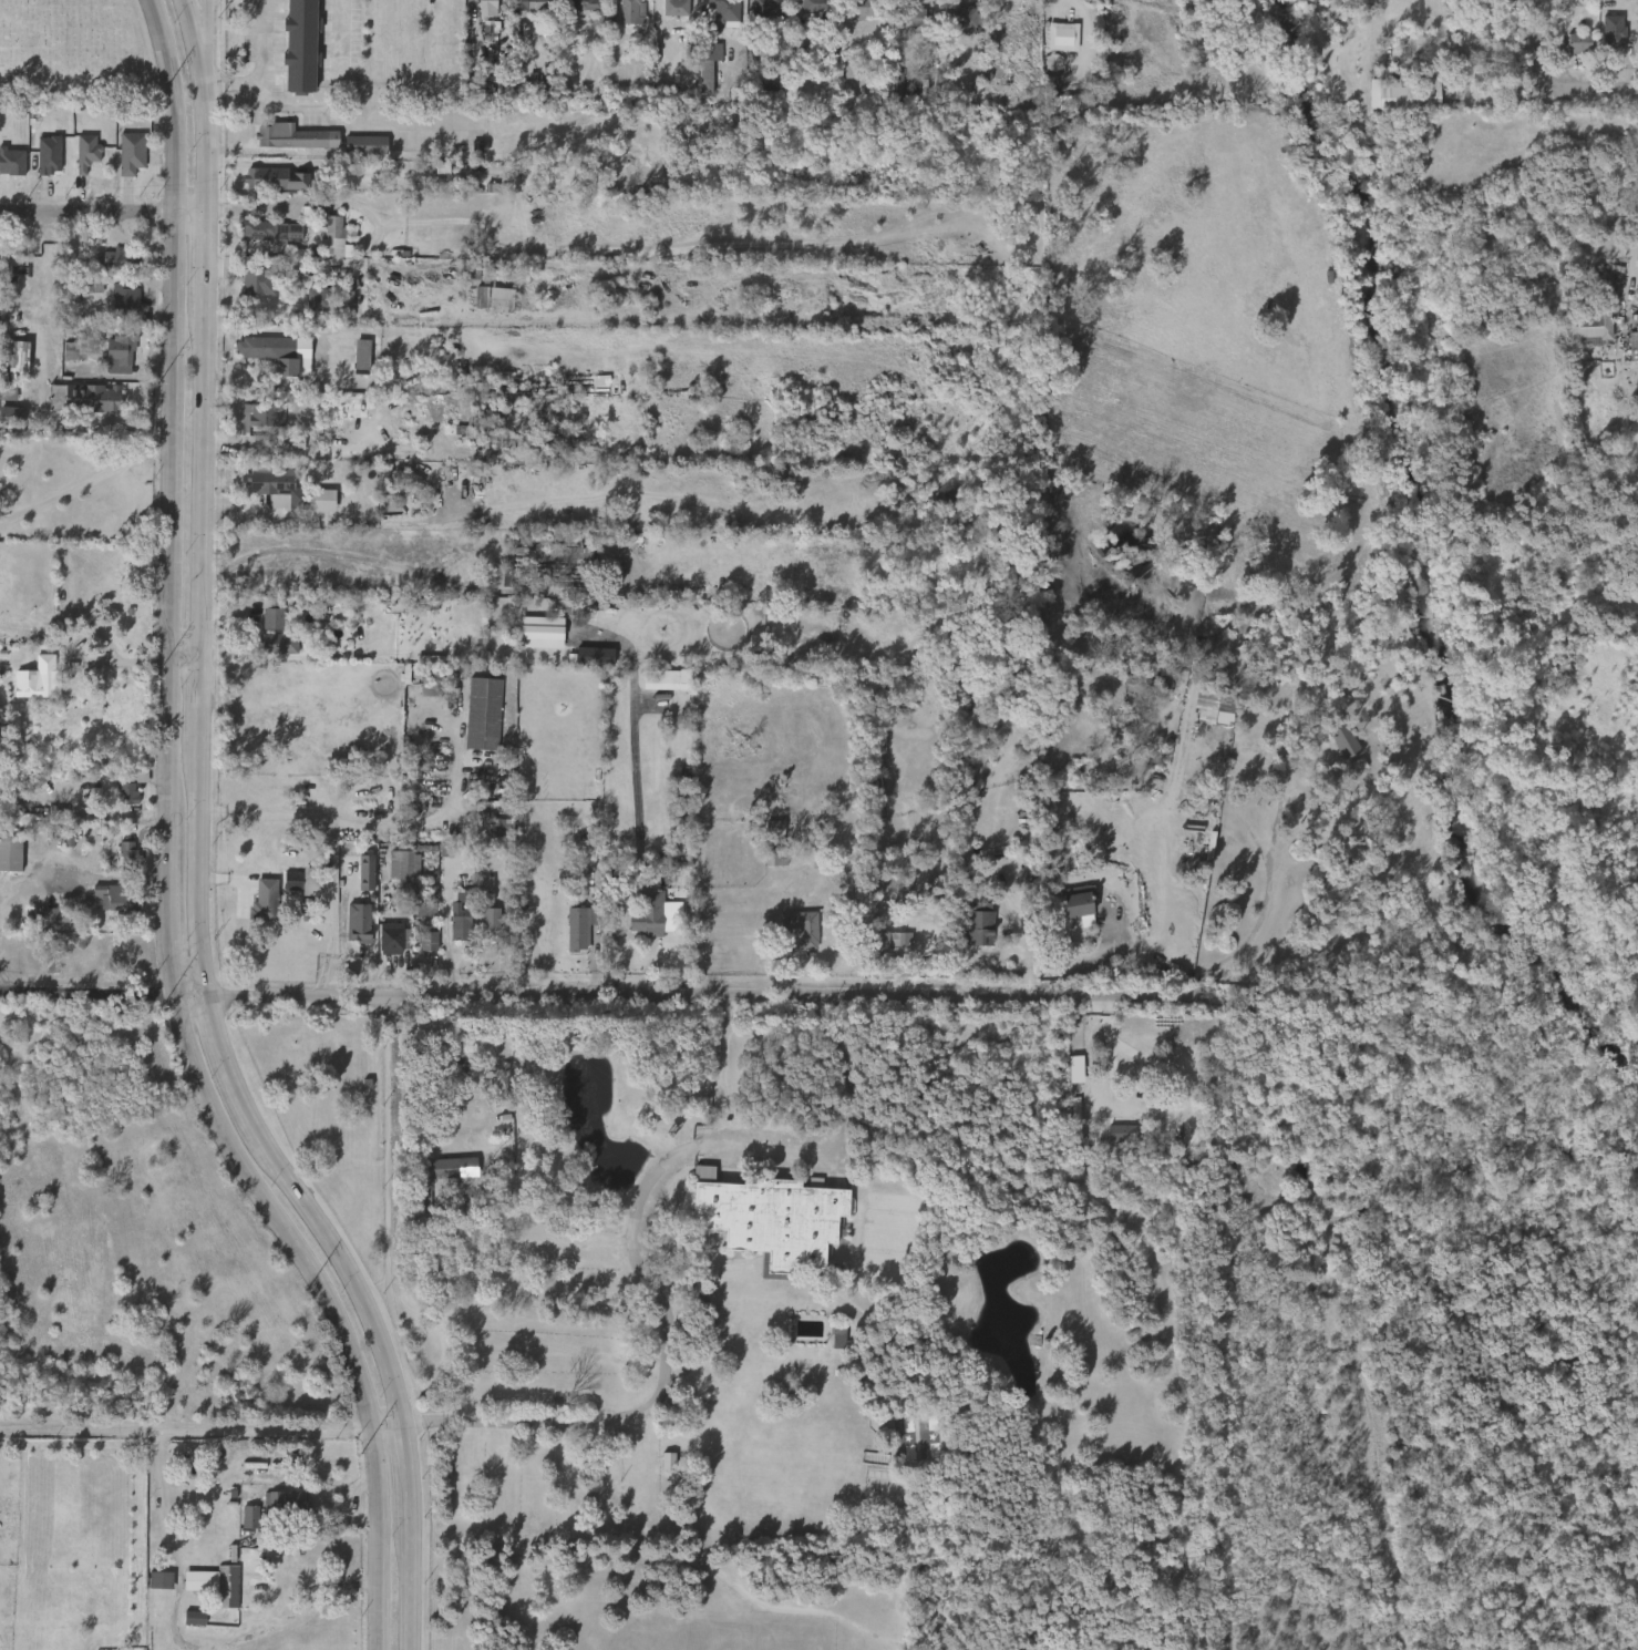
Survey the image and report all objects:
building: (530, 4)
building: (586, 4)
building: (676, 7)
building: (766, 7)
building: (487, 8)
building: (814, 9)
building: (864, 9)
building: (576, 10)
building: (724, 10)
building: (633, 11)
building: (667, 14)
building: (758, 14)
building: (624, 18)
building: (852, 18)
building: (906, 18)
building: (960, 18)
building: (897, 27)
building: (951, 28)
road: (193, 33)
road: (207, 34)
road: (1542, 40)
building: (1604, 40)
building: (1577, 42)
building: (303, 45)
building: (1054, 45)
park: (54, 49)
building: (1570, 52)
building: (708, 65)
road: (260, 66)
building: (1453, 71)
building: (700, 75)
building: (893, 90)
building: (1419, 94)
road: (1586, 95)
road: (329, 101)
building: (995, 101)
road: (394, 124)
building: (295, 136)
road: (206, 141)
building: (369, 145)
building: (286, 146)
building: (86, 152)
building: (131, 152)
building: (357, 154)
building: (79, 162)
building: (41, 164)
building: (8, 171)
building: (260, 177)
building: (272, 188)
road: (102, 214)
building: (323, 221)
building: (270, 232)
building: (326, 236)
building: (265, 242)
building: (122, 257)
road: (332, 264)
building: (112, 266)
road: (204, 268)
building: (260, 281)
building: (86, 284)
building: (248, 291)
building: (496, 297)
building: (318, 299)
building: (124, 300)
building: (309, 308)
building: (486, 308)
building: (339, 311)
building: (1588, 324)
building: (1634, 345)
building: (267, 347)
building: (79, 350)
building: (121, 352)
building: (264, 361)
building: (354, 363)
building: (91, 399)
building: (265, 413)
building: (10, 417)
building: (505, 417)
building: (255, 426)
building: (472, 427)
building: (525, 440)
road: (85, 481)
building: (277, 485)
road: (204, 488)
building: (268, 496)
building: (550, 553)
road: (461, 555)
road: (374, 560)
building: (554, 563)
building: (272, 614)
building: (265, 624)
building: (533, 640)
building: (278, 644)
road: (186, 654)
building: (41, 679)
building: (662, 679)
building: (431, 686)
building: (651, 689)
road: (169, 701)
road: (202, 710)
building: (485, 714)
building: (1335, 749)
building: (1349, 773)
building: (132, 785)
road: (637, 799)
building: (120, 802)
road: (333, 820)
building: (503, 829)
building: (494, 837)
building: (12, 853)
building: (127, 857)
building: (400, 870)
road: (70, 878)
road: (202, 880)
building: (310, 880)
building: (359, 881)
building: (285, 890)
building: (303, 890)
building: (115, 898)
building: (265, 900)
building: (1073, 901)
building: (487, 904)
building: (460, 909)
building: (657, 913)
building: (480, 914)
building: (52, 918)
building: (418, 918)
building: (979, 923)
building: (357, 926)
building: (803, 926)
building: (452, 928)
building: (794, 935)
building: (394, 936)
road: (445, 936)
building: (581, 937)
building: (886, 941)
building: (427, 942)
building: (421, 951)
road: (1026, 957)
road: (1088, 963)
road: (3, 978)
road: (625, 994)
road: (224, 1060)
building: (456, 1064)
building: (1123, 1134)
building: (1112, 1141)
building: (446, 1168)
building: (773, 1219)
road: (348, 1267)
road: (398, 1288)
road: (666, 1315)
building: (833, 1345)
road: (472, 1361)
road: (203, 1433)
building: (660, 1468)
road: (411, 1480)
building: (286, 1503)
road: (378, 1504)
building: (248, 1515)
building: (243, 1526)
building: (214, 1584)
building: (153, 1588)
road: (413, 1592)
building: (187, 1626)

